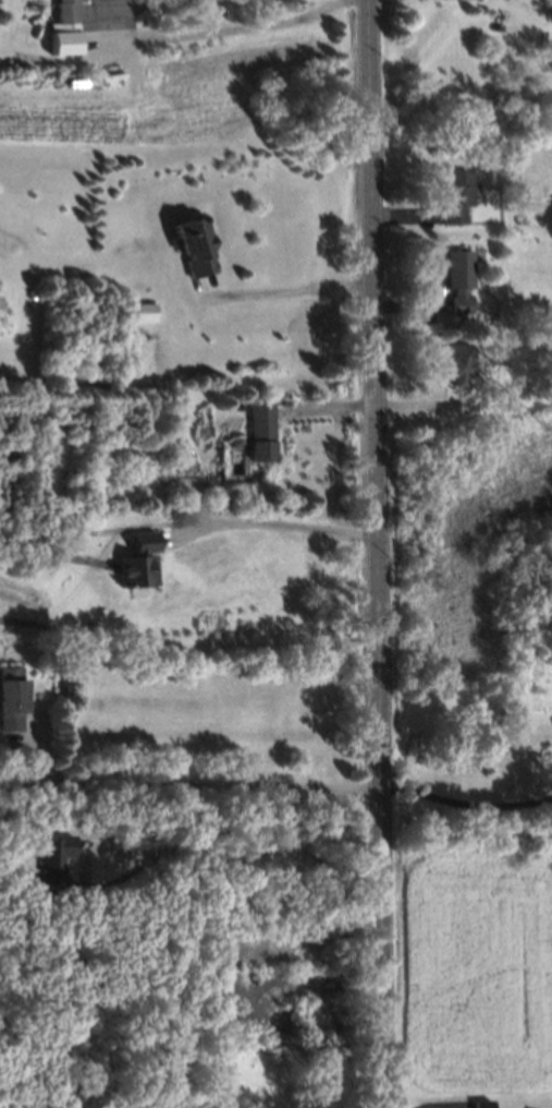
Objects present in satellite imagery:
building: (61, 9)
road: (210, 27)
building: (63, 44)
building: (452, 193)
building: (516, 219)
building: (189, 244)
building: (453, 277)
road: (284, 289)
building: (139, 309)
building: (453, 361)
building: (254, 429)
building: (231, 439)
road: (278, 523)
road: (369, 554)
building: (138, 562)
building: (9, 695)
road: (185, 783)
road: (461, 804)
road: (173, 847)
building: (45, 868)
building: (214, 986)
road: (185, 1026)
building: (478, 1103)

